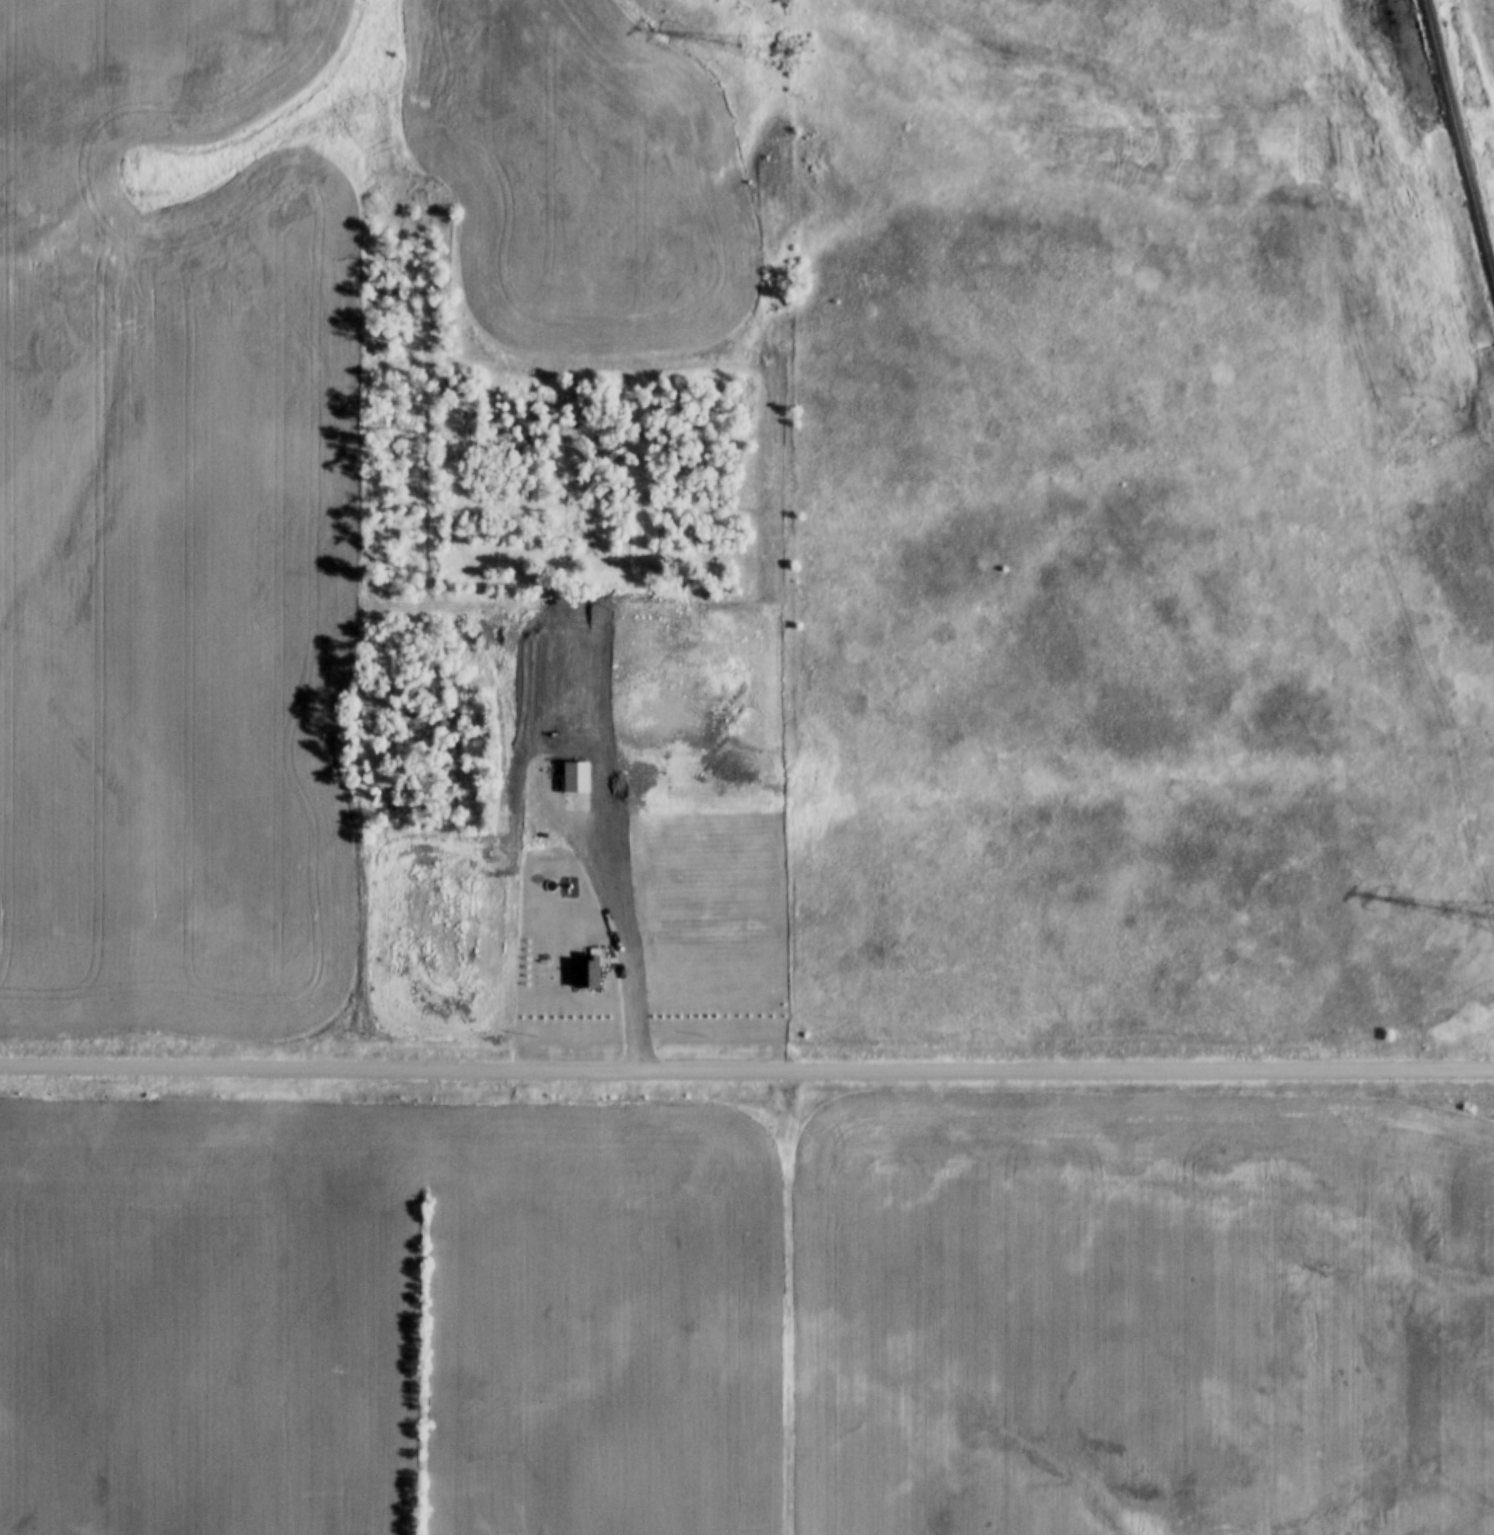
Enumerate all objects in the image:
power tower: (788, 50)
railway: (1456, 149)
building: (558, 644)
building: (638, 645)
building: (577, 778)
building: (536, 892)
building: (627, 908)
road: (613, 919)
building: (589, 971)
road: (746, 1070)

